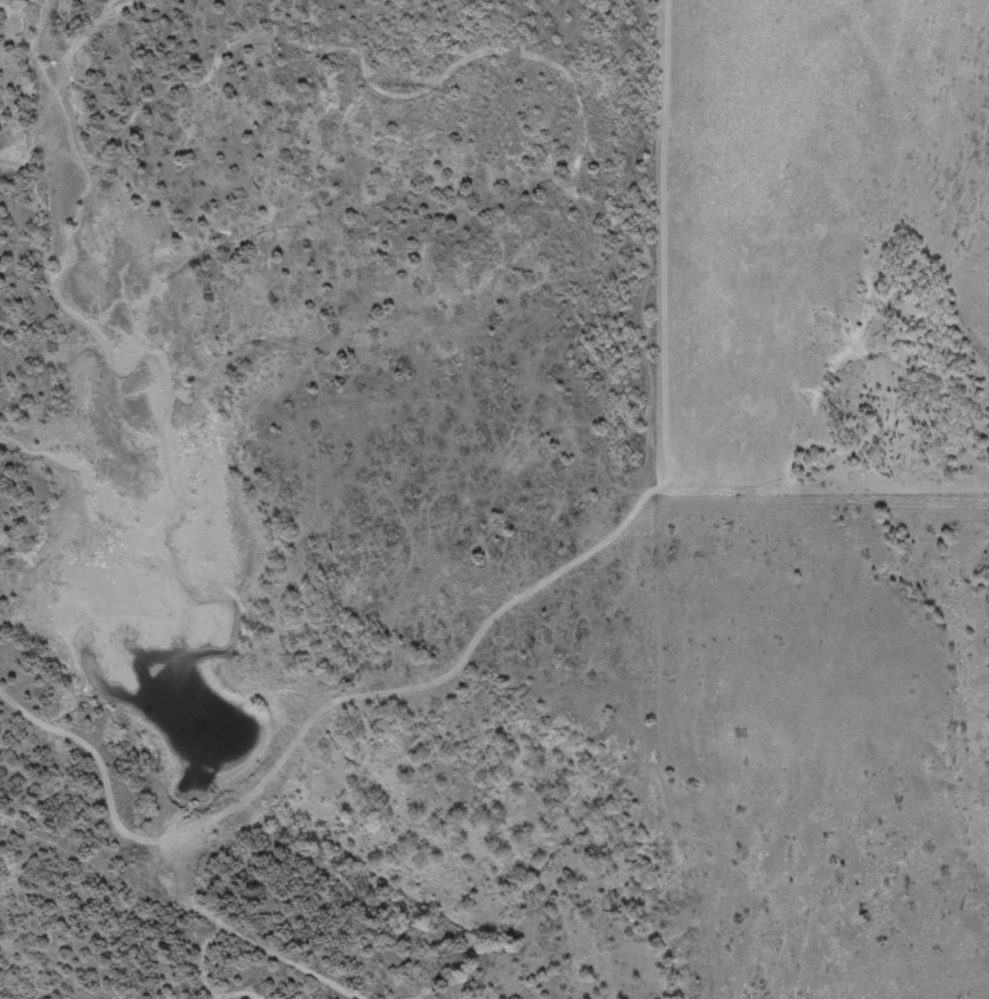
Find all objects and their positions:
road: (61, 76)

